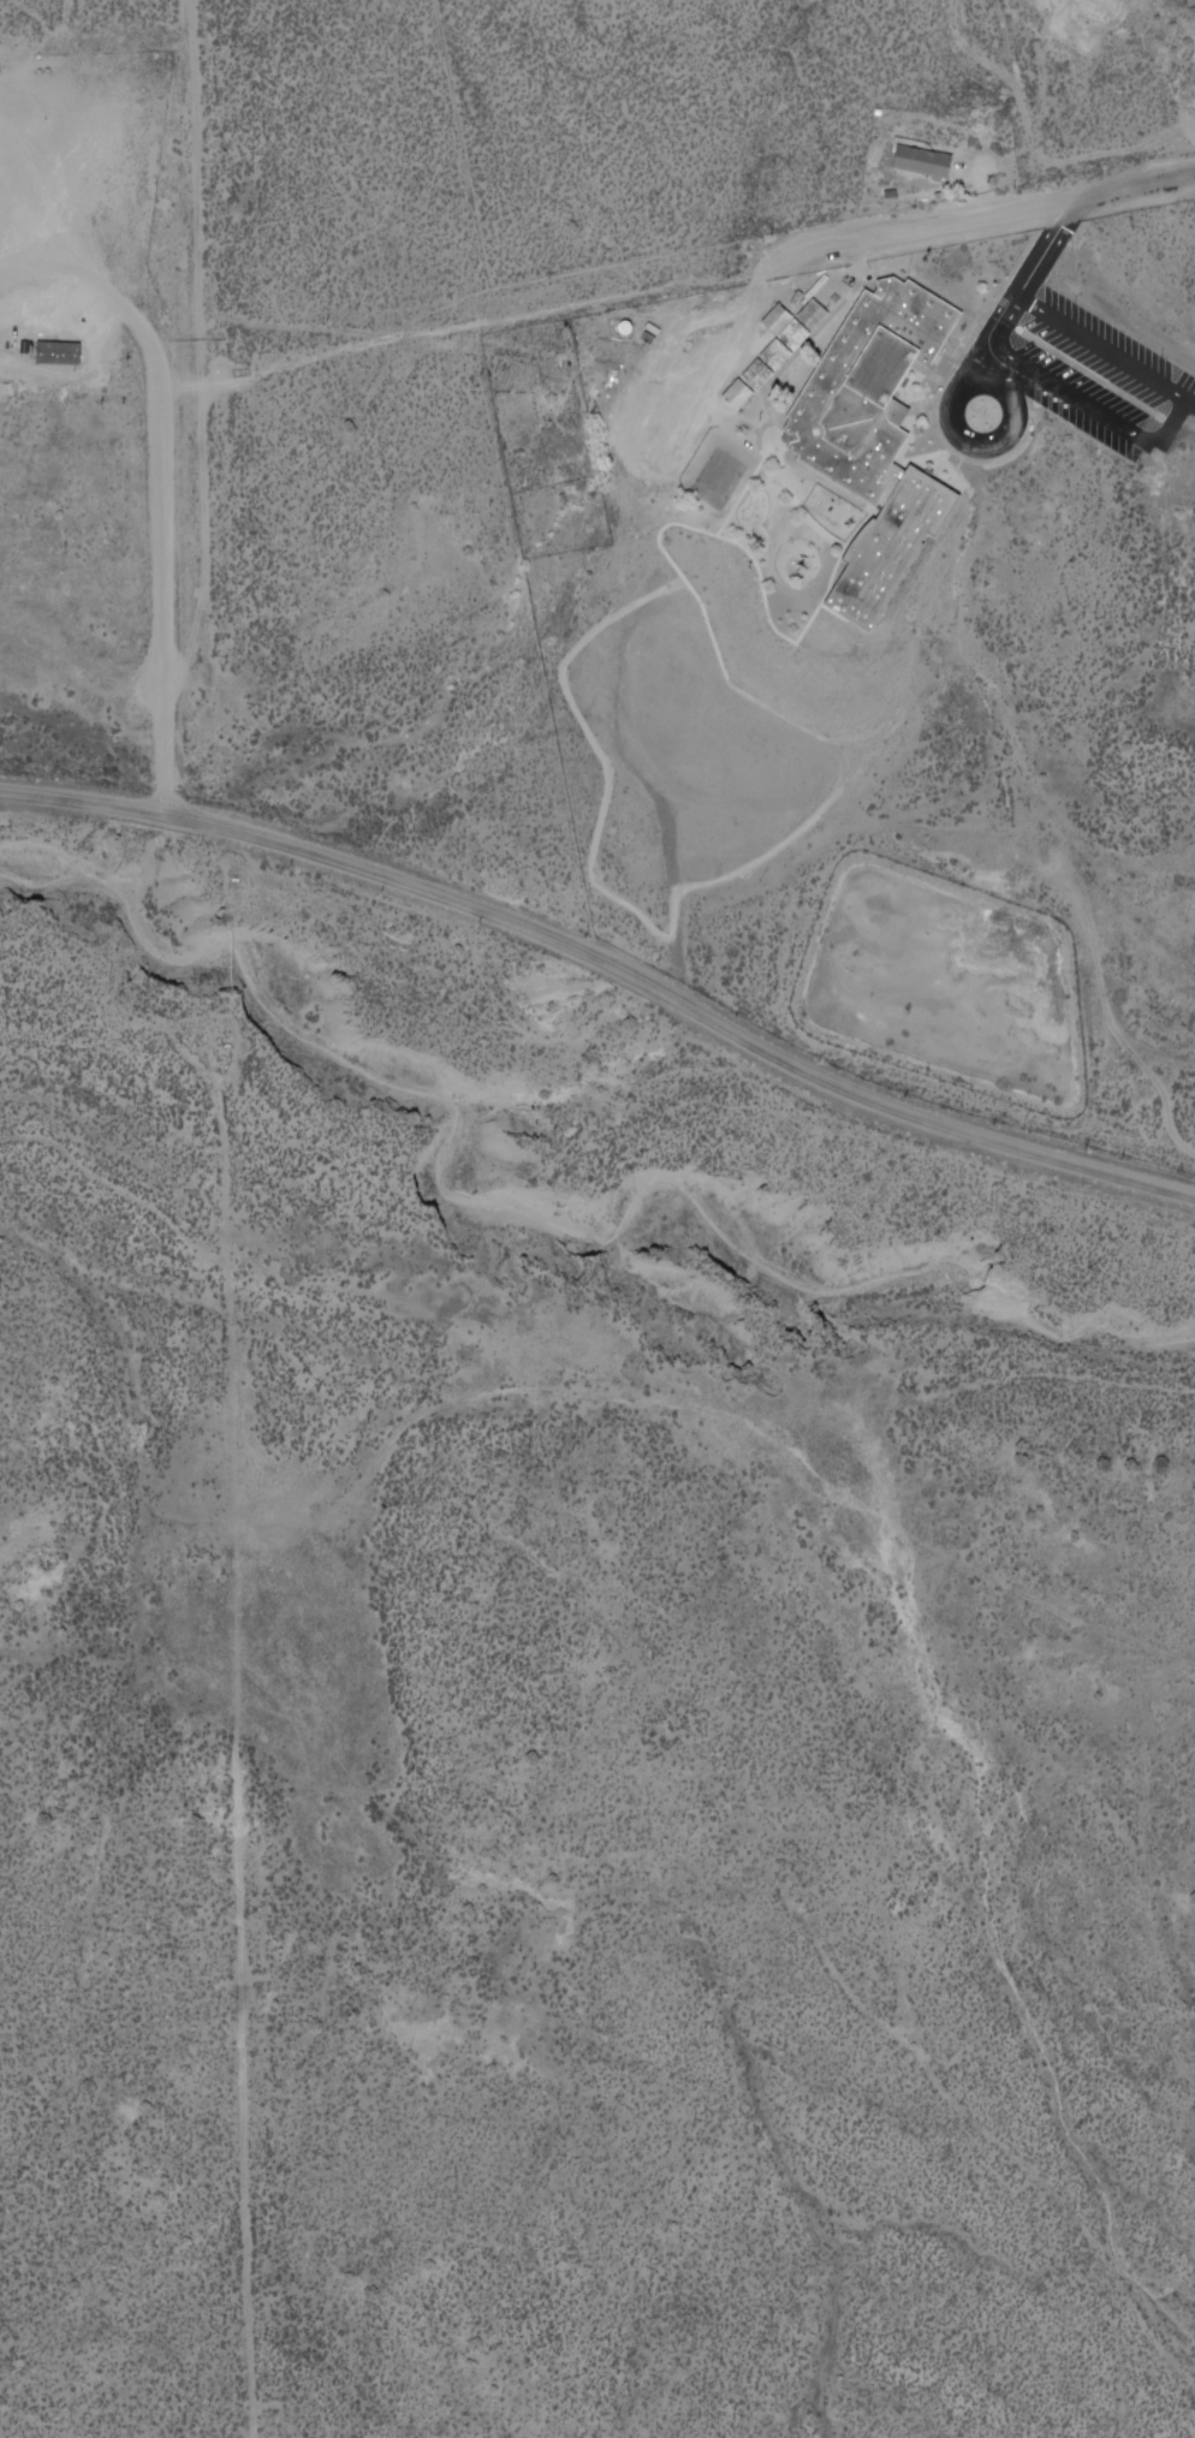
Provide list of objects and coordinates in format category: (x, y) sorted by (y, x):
building: (923, 162)
road: (886, 238)
road: (149, 346)
building: (778, 349)
road: (198, 414)
road: (1118, 426)
building: (885, 438)
road: (981, 445)
road: (607, 961)

